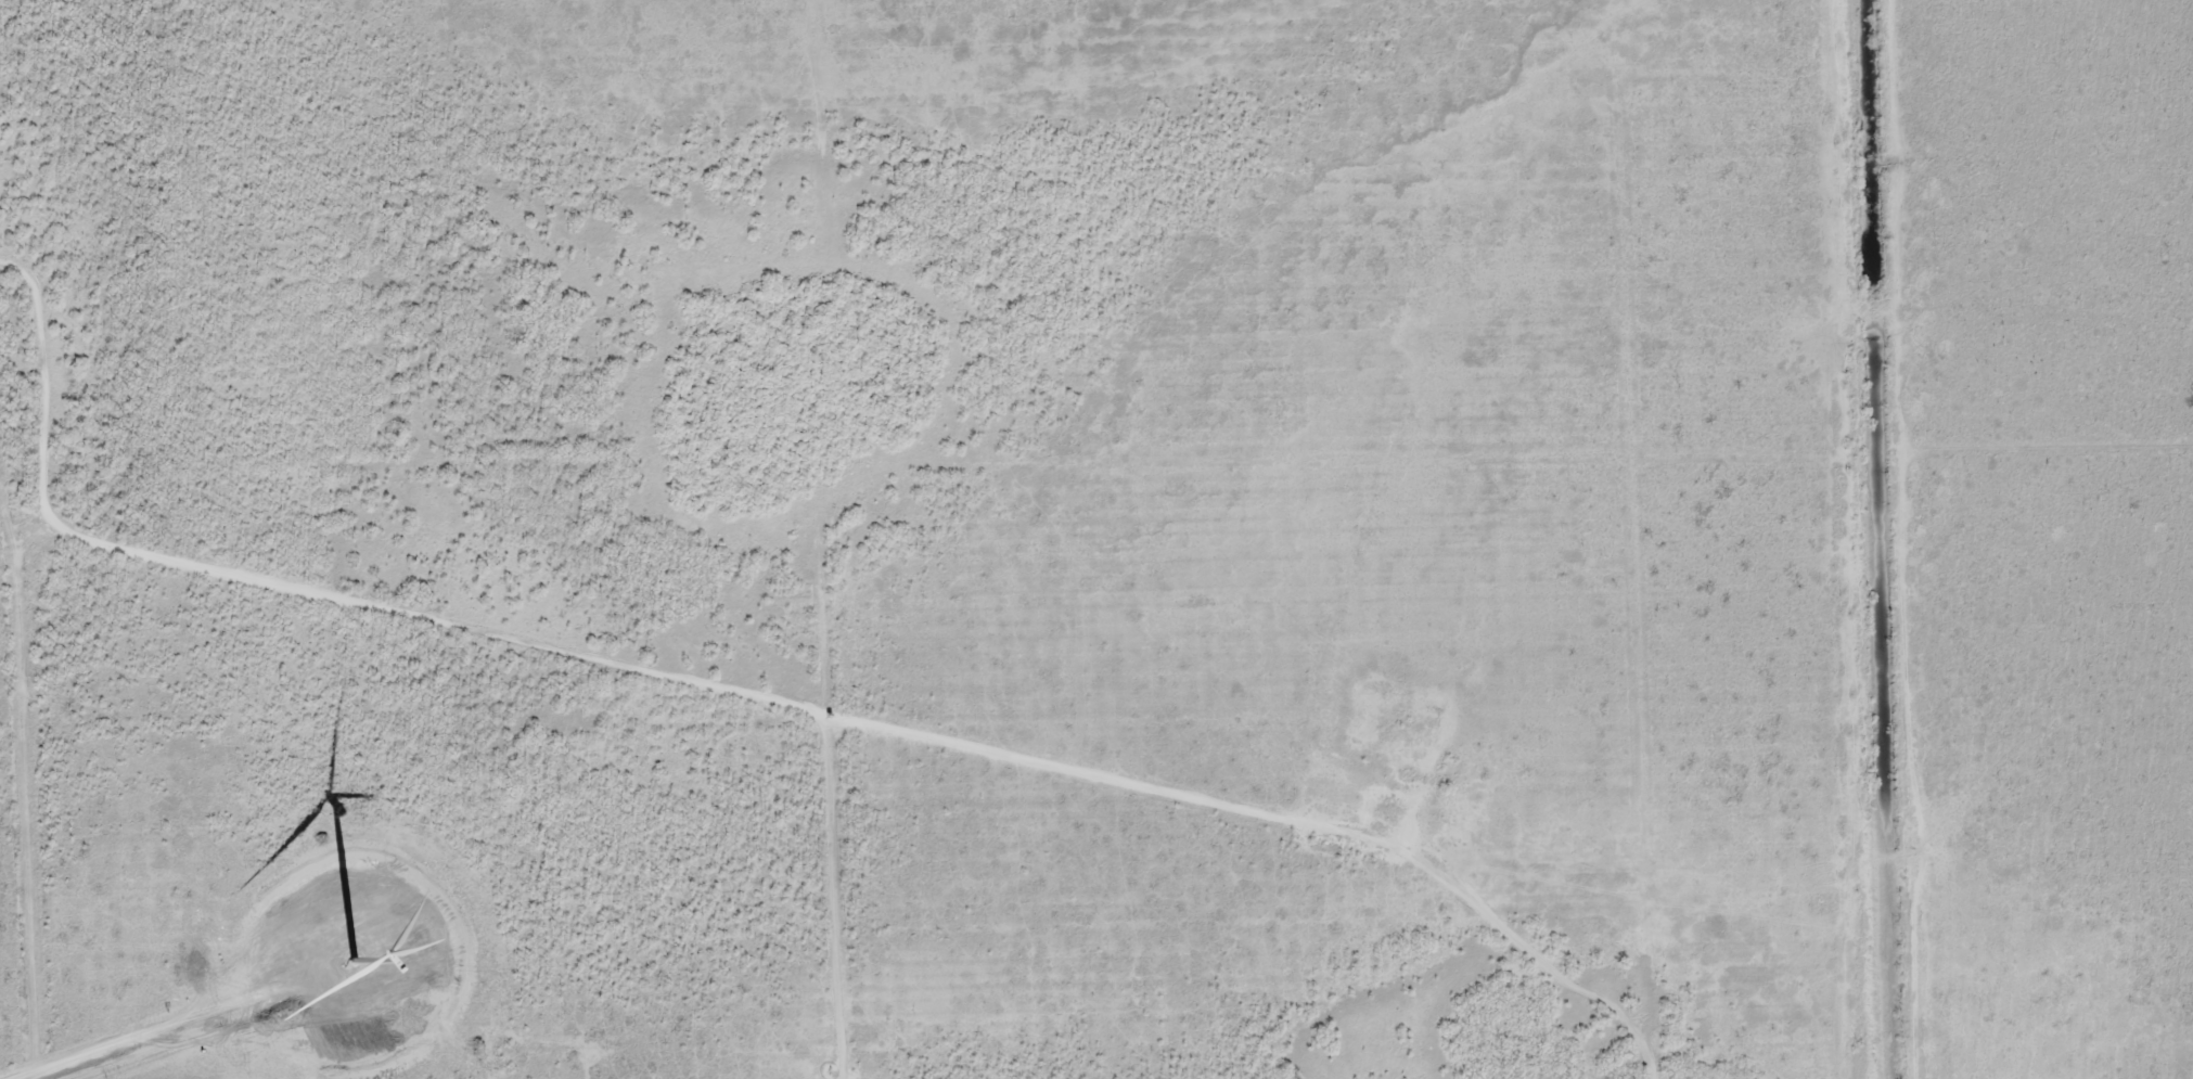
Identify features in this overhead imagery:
wind turbine: (354, 961)
road: (153, 1025)

